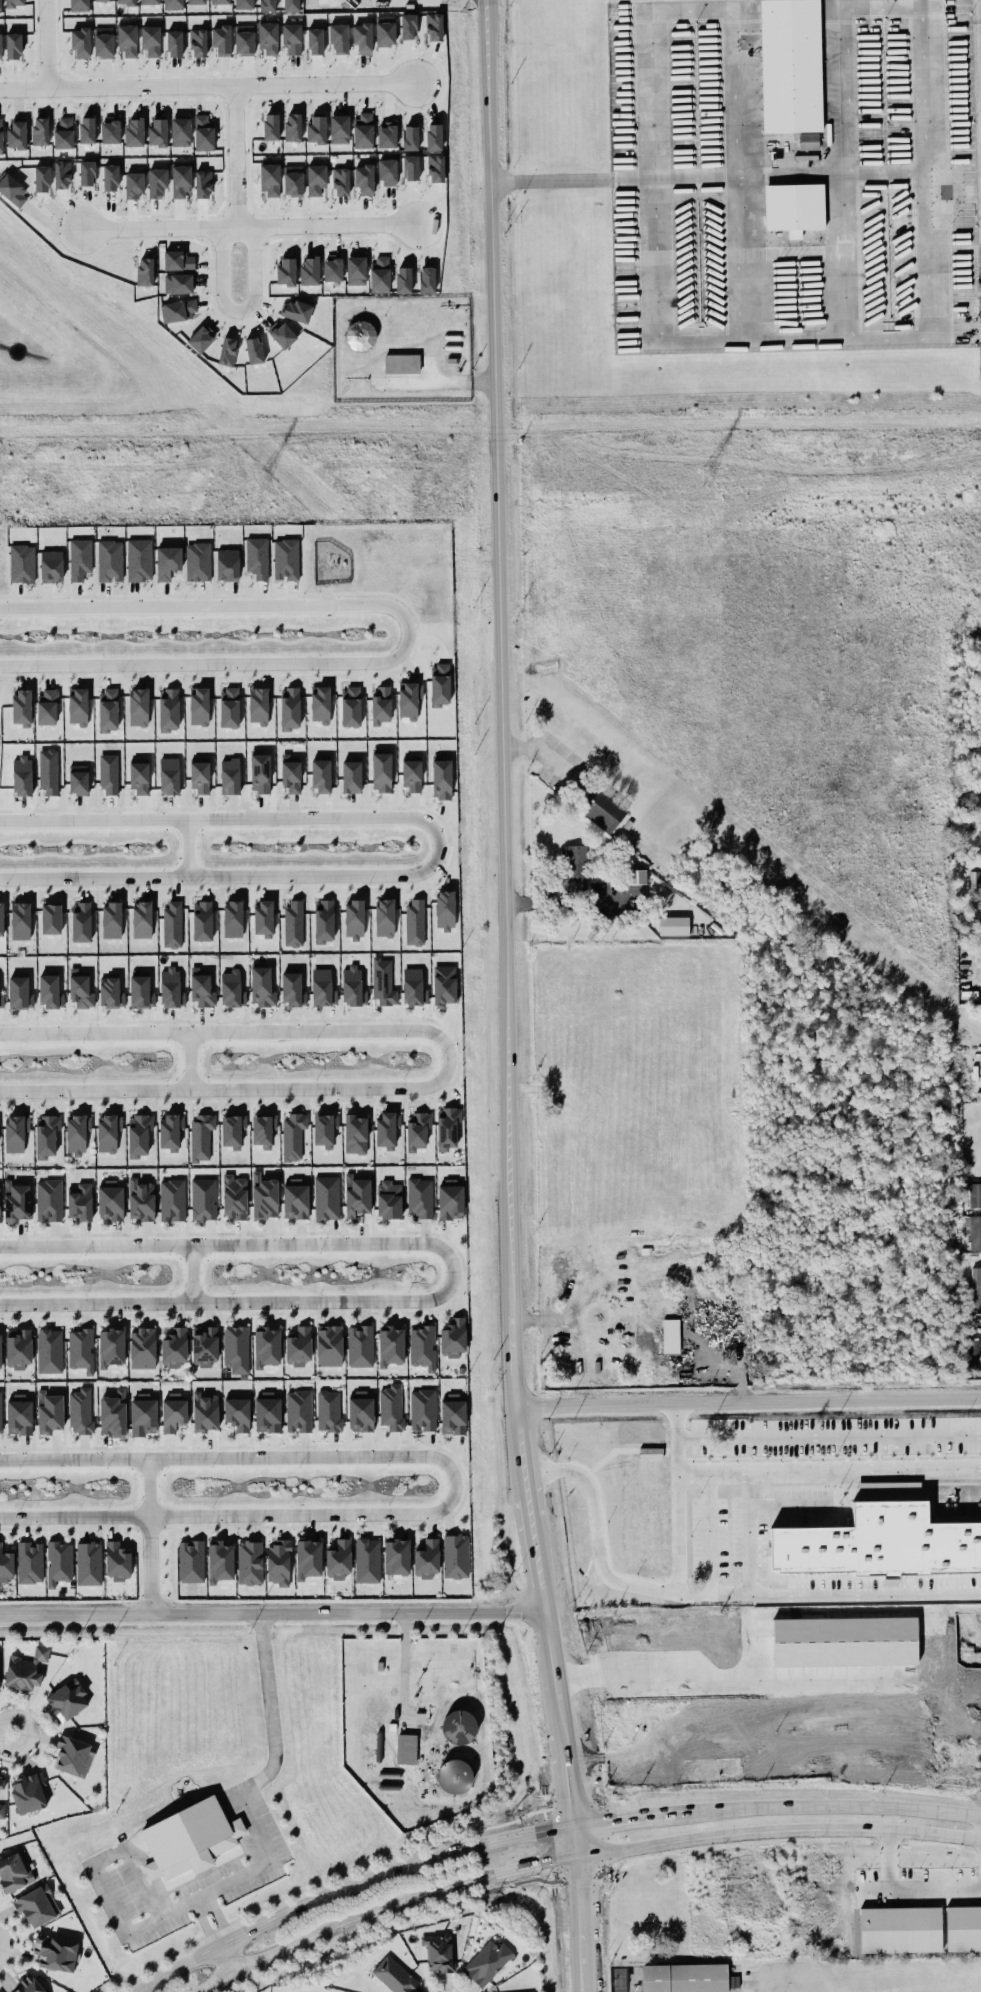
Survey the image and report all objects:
building: (102, 0)
building: (149, 1)
building: (196, 1)
building: (219, 1)
building: (126, 2)
building: (13, 3)
building: (173, 4)
building: (243, 4)
building: (79, 5)
building: (267, 5)
building: (291, 5)
building: (408, 26)
building: (434, 26)
building: (385, 30)
building: (268, 36)
building: (291, 37)
building: (338, 37)
building: (362, 37)
building: (244, 38)
building: (151, 39)
building: (221, 39)
building: (127, 40)
building: (80, 41)
building: (103, 41)
building: (314, 41)
building: (198, 42)
building: (174, 43)
building: (0, 45)
building: (13, 45)
building: (791, 65)
road: (184, 82)
road: (22, 85)
road: (924, 86)
building: (270, 126)
building: (292, 126)
building: (316, 128)
building: (339, 128)
building: (87, 129)
building: (39, 130)
building: (110, 130)
building: (363, 130)
building: (134, 131)
building: (157, 131)
building: (180, 131)
building: (203, 132)
building: (16, 133)
building: (63, 133)
building: (386, 133)
building: (1, 134)
building: (433, 136)
building: (409, 137)
building: (808, 140)
building: (410, 167)
building: (435, 167)
building: (387, 171)
building: (86, 172)
building: (62, 174)
road: (768, 175)
building: (110, 177)
building: (41, 178)
building: (316, 178)
building: (364, 178)
building: (270, 179)
building: (293, 180)
road: (551, 180)
building: (180, 181)
building: (340, 181)
building: (157, 182)
building: (203, 183)
building: (134, 184)
building: (12, 190)
building: (794, 207)
road: (250, 225)
road: (158, 226)
road: (928, 252)
building: (177, 259)
building: (332, 267)
building: (309, 269)
building: (286, 270)
building: (355, 270)
building: (144, 271)
building: (379, 274)
building: (403, 279)
building: (426, 279)
building: (177, 282)
building: (178, 309)
building: (296, 310)
road: (238, 312)
building: (281, 333)
building: (359, 334)
road: (715, 336)
building: (199, 338)
building: (253, 350)
building: (226, 351)
building: (402, 363)
power tower: (716, 479)
power tower: (253, 485)
building: (257, 557)
building: (79, 558)
building: (286, 558)
building: (139, 559)
building: (109, 560)
building: (167, 561)
building: (198, 561)
building: (22, 562)
building: (227, 564)
building: (51, 565)
road: (399, 633)
building: (409, 698)
building: (320, 704)
building: (380, 704)
building: (47, 705)
building: (78, 705)
building: (199, 705)
building: (258, 705)
building: (138, 706)
building: (350, 706)
building: (21, 707)
building: (229, 707)
building: (289, 708)
building: (108, 709)
building: (168, 709)
road: (501, 733)
building: (48, 770)
building: (381, 771)
building: (260, 772)
building: (291, 773)
building: (411, 773)
building: (109, 774)
building: (199, 774)
building: (21, 775)
building: (169, 775)
building: (229, 775)
building: (139, 776)
building: (321, 776)
building: (351, 776)
building: (441, 778)
building: (78, 779)
building: (604, 811)
road: (435, 843)
road: (181, 847)
building: (575, 868)
building: (636, 876)
road: (571, 905)
building: (444, 909)
building: (1, 917)
building: (384, 917)
building: (50, 918)
building: (232, 918)
building: (353, 918)
building: (141, 919)
building: (20, 920)
building: (111, 920)
building: (202, 920)
building: (323, 920)
building: (80, 921)
building: (415, 921)
building: (293, 922)
building: (172, 924)
building: (673, 925)
building: (383, 981)
building: (444, 984)
building: (261, 986)
building: (321, 986)
building: (352, 986)
building: (169, 987)
building: (202, 987)
building: (230, 987)
building: (413, 987)
building: (292, 988)
building: (80, 989)
building: (49, 990)
building: (111, 990)
building: (18, 991)
building: (141, 991)
building: (1, 999)
road: (448, 1057)
road: (190, 1060)
building: (978, 1095)
building: (447, 1127)
building: (324, 1128)
building: (387, 1128)
building: (232, 1129)
building: (263, 1129)
building: (417, 1129)
building: (170, 1130)
building: (108, 1131)
building: (77, 1132)
building: (14, 1133)
building: (355, 1133)
building: (139, 1134)
building: (293, 1134)
building: (46, 1135)
building: (201, 1135)
building: (974, 1194)
building: (356, 1195)
building: (234, 1196)
building: (264, 1196)
building: (326, 1197)
building: (419, 1197)
building: (203, 1198)
building: (295, 1198)
building: (141, 1199)
building: (172, 1199)
building: (388, 1199)
building: (451, 1199)
building: (16, 1200)
building: (49, 1200)
building: (110, 1200)
building: (80, 1201)
building: (975, 1232)
road: (453, 1270)
road: (192, 1273)
building: (976, 1289)
building: (671, 1335)
building: (453, 1337)
building: (329, 1344)
building: (204, 1345)
building: (266, 1345)
building: (360, 1345)
building: (391, 1345)
building: (111, 1346)
building: (298, 1346)
building: (422, 1346)
building: (18, 1347)
building: (142, 1347)
building: (174, 1347)
building: (81, 1348)
building: (236, 1348)
building: (0, 1349)
building: (49, 1350)
road: (747, 1403)
building: (391, 1406)
building: (329, 1409)
building: (423, 1409)
building: (80, 1410)
building: (298, 1410)
building: (49, 1411)
building: (173, 1411)
building: (205, 1411)
building: (360, 1411)
building: (237, 1412)
building: (267, 1412)
building: (0, 1413)
building: (113, 1413)
building: (19, 1414)
building: (453, 1414)
building: (143, 1415)
road: (827, 1436)
road: (827, 1469)
road: (455, 1484)
road: (675, 1500)
road: (149, 1536)
building: (881, 1537)
road: (751, 1553)
building: (455, 1555)
building: (396, 1556)
building: (308, 1557)
building: (338, 1558)
building: (426, 1558)
building: (367, 1559)
building: (116, 1560)
building: (219, 1560)
building: (29, 1561)
building: (191, 1561)
building: (250, 1561)
building: (278, 1561)
building: (58, 1562)
building: (88, 1562)
building: (5, 1564)
road: (635, 1585)
road: (866, 1594)
road: (838, 1610)
road: (272, 1614)
building: (850, 1651)
road: (454, 1652)
road: (438, 1661)
building: (25, 1668)
road: (404, 1669)
road: (746, 1671)
building: (67, 1698)
road: (274, 1719)
road: (560, 1728)
road: (8, 1731)
building: (406, 1748)
building: (73, 1754)
road: (602, 1754)
building: (454, 1775)
building: (1, 1782)
building: (29, 1791)
road: (828, 1805)
building: (2, 1810)
road: (625, 1815)
road: (251, 1817)
road: (948, 1824)
road: (779, 1831)
road: (240, 1836)
building: (188, 1838)
road: (133, 1866)
road: (149, 1869)
building: (13, 1871)
road: (346, 1885)
road: (905, 1889)
road: (199, 1896)
road: (112, 1897)
road: (271, 1903)
building: (36, 1905)
road: (384, 1908)
road: (217, 1919)
road: (205, 1923)
building: (963, 1928)
building: (900, 1929)
road: (343, 1937)
building: (438, 1951)
building: (55, 1952)
road: (227, 1960)
building: (486, 1961)
building: (393, 1974)
building: (683, 1977)
road: (617, 1978)
road: (746, 1980)
building: (27, 1985)
building: (521, 1991)
building: (532, 1991)

